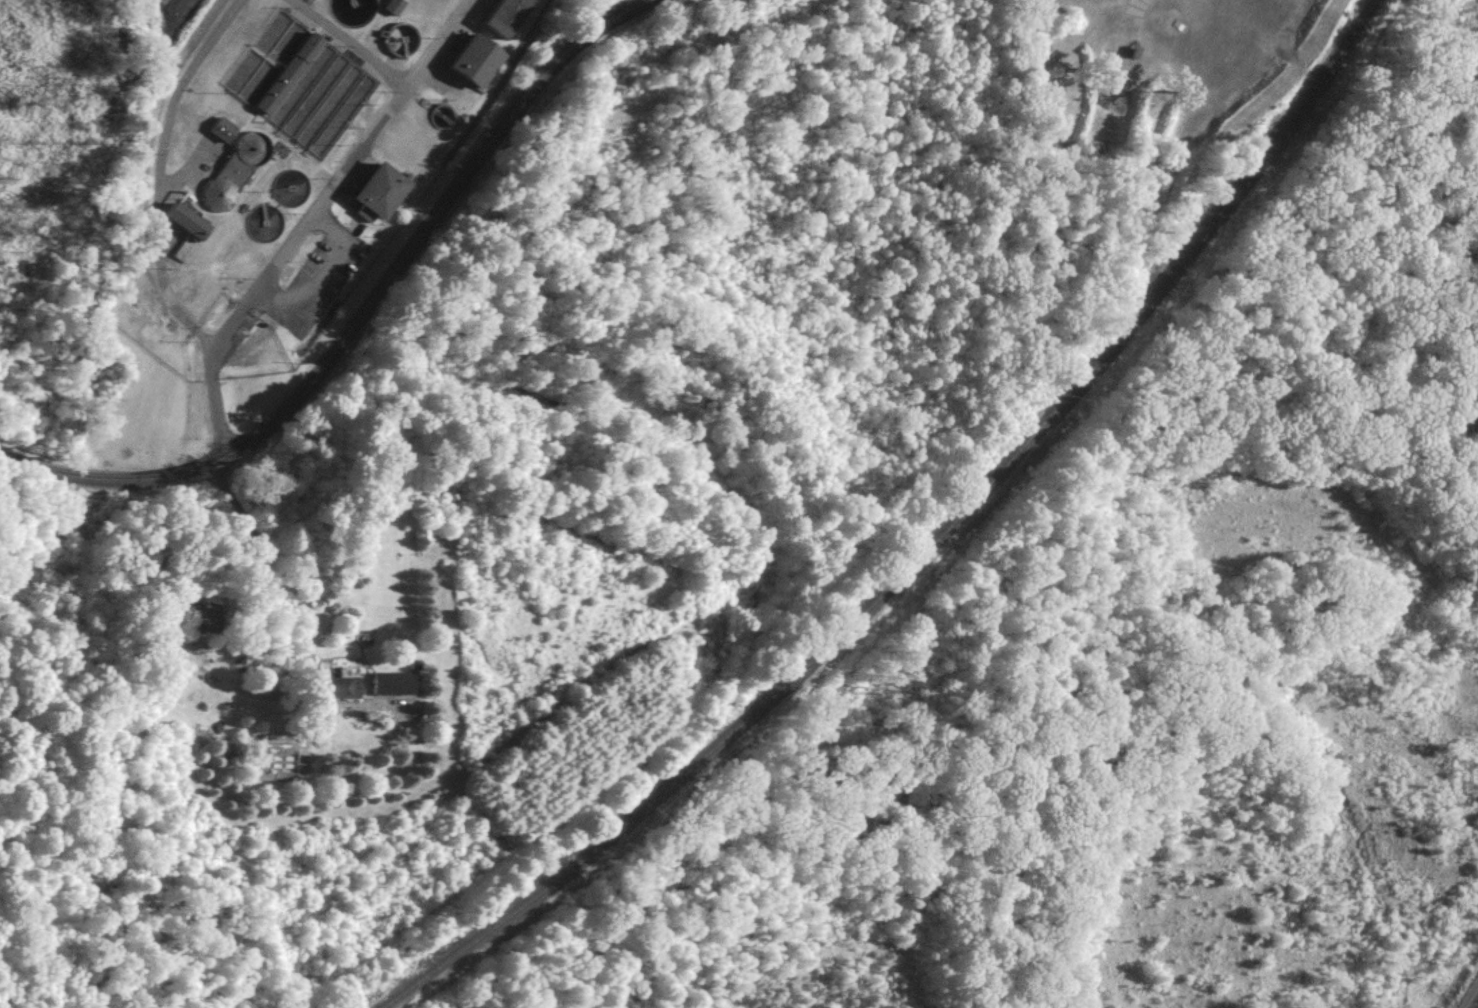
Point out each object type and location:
building: (392, 6)
building: (351, 12)
building: (506, 16)
building: (1035, 29)
building: (288, 38)
building: (401, 38)
building: (476, 59)
building: (379, 190)
wastewater plant: (275, 193)
building: (184, 219)
road: (311, 222)
road: (324, 274)
road: (372, 327)
railway: (923, 548)
road: (266, 569)
building: (202, 617)
building: (394, 682)
building: (339, 685)

